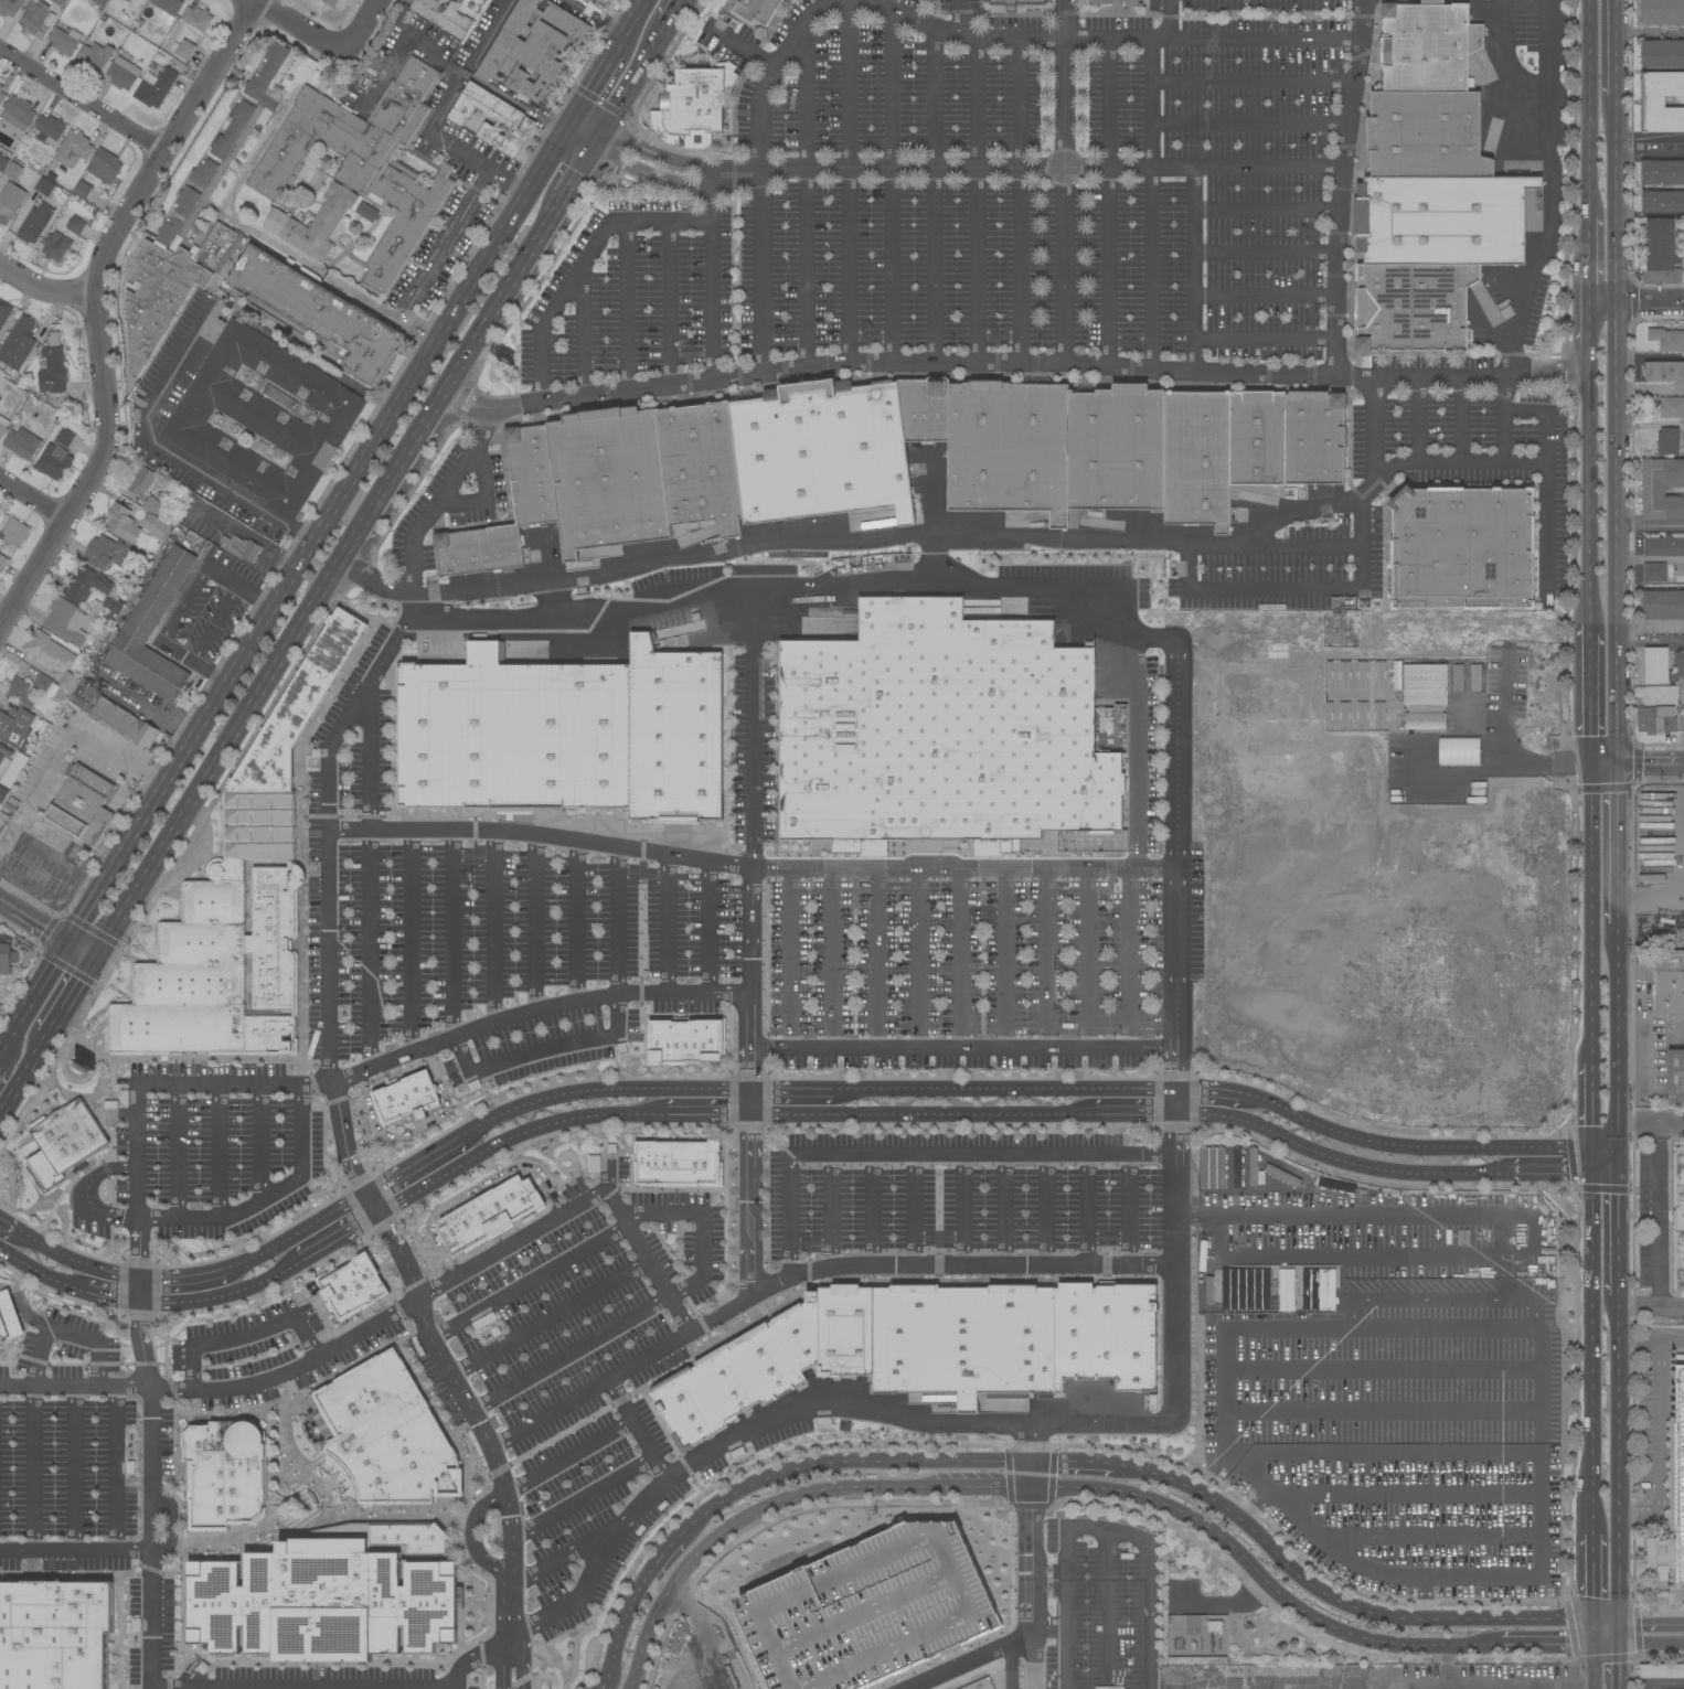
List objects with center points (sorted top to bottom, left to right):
building: (127, 0)
building: (484, 0)
building: (60, 2)
building: (100, 2)
building: (330, 2)
building: (1117, 2)
building: (1016, 3)
building: (595, 6)
building: (10, 7)
building: (167, 9)
building: (756, 10)
building: (1662, 12)
building: (444, 14)
road: (675, 14)
road: (959, 17)
building: (34, 19)
road: (1168, 19)
building: (195, 20)
road: (294, 25)
road: (360, 25)
road: (631, 26)
road: (994, 36)
building: (64, 41)
road: (1616, 47)
building: (184, 49)
building: (533, 49)
road: (740, 49)
building: (1663, 54)
building: (95, 56)
building: (373, 65)
road: (463, 65)
building: (122, 73)
road: (637, 79)
road: (1065, 84)
road: (1251, 84)
building: (1, 87)
building: (156, 88)
road: (594, 89)
building: (2, 97)
building: (696, 99)
road: (81, 101)
building: (1661, 101)
road: (513, 103)
road: (1589, 107)
building: (18, 113)
building: (509, 119)
building: (472, 121)
traffic signals: (572, 125)
building: (50, 127)
road: (1248, 129)
traffic signals: (608, 130)
road: (603, 139)
road: (1651, 140)
traffic signals: (597, 148)
building: (74, 149)
building: (3, 162)
road: (473, 164)
building: (105, 165)
road: (1051, 168)
building: (13, 171)
building: (359, 171)
building: (1662, 172)
road: (580, 174)
road: (758, 174)
road: (849, 182)
building: (45, 186)
road: (1337, 186)
building: (1429, 188)
road: (889, 189)
building: (83, 190)
road: (1550, 192)
parking lot: (978, 195)
road: (806, 196)
road: (931, 196)
road: (1620, 200)
building: (10, 201)
building: (1662, 201)
road: (974, 202)
road: (1019, 202)
road: (1107, 204)
road: (1151, 205)
road: (1266, 211)
building: (186, 212)
building: (366, 212)
building: (35, 223)
road: (640, 224)
building: (61, 238)
road: (539, 242)
road: (441, 245)
building: (1660, 253)
road: (1264, 257)
building: (1683, 259)
road: (1587, 260)
road: (1063, 268)
road: (1195, 269)
road: (765, 274)
road: (329, 277)
road: (44, 291)
road: (1264, 299)
road: (1653, 304)
road: (669, 306)
road: (1605, 306)
road: (94, 308)
road: (627, 308)
building: (4, 311)
building: (319, 313)
road: (1621, 331)
road: (583, 333)
road: (481, 338)
building: (1667, 339)
road: (1264, 341)
road: (1587, 341)
building: (19, 343)
road: (1652, 356)
building: (504, 362)
road: (1013, 367)
building: (52, 371)
building: (1664, 371)
road: (1621, 373)
road: (1652, 388)
road: (1502, 391)
building: (0, 399)
building: (1672, 407)
building: (263, 417)
road: (1418, 420)
road: (1461, 420)
building: (2, 425)
building: (64, 437)
road: (151, 441)
building: (1667, 441)
building: (22, 442)
building: (1043, 443)
parking lot: (1467, 446)
building: (1246, 447)
building: (821, 451)
road: (1545, 457)
building: (53, 462)
road: (402, 463)
building: (701, 466)
road: (1415, 466)
building: (141, 480)
road: (1588, 488)
building: (574, 489)
building: (1662, 489)
road: (481, 494)
road: (34, 496)
road: (440, 498)
parking lot: (449, 502)
building: (151, 504)
road: (1288, 509)
building: (121, 523)
building: (154, 526)
road: (237, 528)
building: (14, 532)
road: (300, 532)
road: (320, 532)
road: (883, 541)
building: (1663, 545)
building: (241, 547)
building: (1462, 548)
building: (105, 553)
road: (290, 559)
building: (2, 562)
road: (931, 564)
parking lot: (1290, 567)
building: (1654, 571)
road: (1618, 577)
road: (269, 580)
road: (239, 587)
road: (1272, 589)
building: (76, 592)
building: (1663, 603)
road: (183, 605)
road: (1589, 611)
building: (66, 622)
road: (214, 623)
building: (151, 631)
road: (1168, 639)
road: (1651, 641)
building: (49, 652)
road: (193, 662)
building: (1662, 666)
road: (749, 680)
building: (68, 681)
building: (42, 682)
building: (20, 692)
road: (1590, 694)
road: (146, 707)
building: (1656, 719)
building: (125, 721)
building: (1681, 724)
building: (15, 726)
building: (673, 733)
building: (513, 734)
building: (945, 735)
road: (88, 740)
road: (226, 746)
road: (1512, 749)
road: (1133, 753)
building: (4, 758)
road: (1681, 765)
road: (1603, 766)
road: (1646, 766)
building: (12, 769)
building: (2, 793)
building: (82, 802)
building: (39, 837)
road: (1616, 854)
road: (747, 866)
road: (370, 875)
road: (323, 886)
road: (1650, 897)
road: (8, 901)
building: (237, 904)
road: (1589, 915)
road: (619, 919)
road: (576, 920)
road: (536, 922)
road: (42, 923)
road: (665, 923)
road: (494, 926)
road: (711, 927)
road: (452, 932)
traffic signals: (70, 940)
road: (412, 940)
road: (82, 948)
traffic signals: (95, 956)
road: (790, 956)
road: (832, 956)
road: (877, 956)
road: (917, 956)
road: (961, 956)
road: (1006, 956)
road: (1045, 956)
road: (1088, 956)
road: (1129, 956)
building: (7, 958)
building: (1669, 981)
road: (34, 996)
road: (71, 996)
building: (685, 1041)
road: (1617, 1044)
road: (959, 1045)
road: (542, 1048)
road: (23, 1072)
road: (350, 1075)
building: (1676, 1077)
road: (790, 1088)
road: (1003, 1088)
road: (598, 1090)
road: (1206, 1091)
building: (405, 1097)
road: (1588, 1103)
road: (705, 1112)
road: (919, 1112)
road: (1132, 1113)
road: (1650, 1120)
road: (417, 1132)
road: (511, 1136)
building: (63, 1142)
road: (259, 1142)
road: (1410, 1144)
traffic signals: (1589, 1144)
road: (1602, 1144)
traffic signals: (1617, 1144)
road: (179, 1150)
road: (220, 1150)
road: (918, 1154)
road: (1589, 1156)
road: (1617, 1156)
road: (1336, 1157)
building: (676, 1163)
building: (1253, 1163)
building: (1211, 1167)
building: (1236, 1167)
road: (413, 1168)
traffic signals: (1590, 1169)
road: (1603, 1169)
traffic signals: (1617, 1169)
road: (1548, 1172)
road: (1590, 1189)
road: (87, 1194)
road: (746, 1194)
road: (268, 1196)
road: (1130, 1208)
road: (1045, 1209)
road: (1088, 1209)
road: (961, 1210)
road: (1003, 1210)
road: (830, 1211)
road: (872, 1211)
road: (912, 1211)
road: (1659, 1212)
building: (488, 1214)
building: (1677, 1216)
road: (701, 1220)
road: (6, 1228)
road: (291, 1236)
road: (337, 1236)
road: (1528, 1238)
road: (1617, 1238)
road: (394, 1247)
road: (646, 1258)
road: (1590, 1258)
road: (74, 1261)
road: (874, 1268)
road: (34, 1272)
road: (179, 1280)
road: (526, 1280)
building: (353, 1285)
building: (1273, 1289)
road: (105, 1294)
road: (1441, 1295)
road: (222, 1296)
road: (1651, 1306)
road: (547, 1316)
building: (7, 1317)
road: (1171, 1323)
road: (244, 1330)
road: (64, 1334)
road: (1650, 1335)
building: (920, 1348)
road: (569, 1354)
road: (1618, 1361)
road: (1379, 1366)
road: (289, 1367)
road: (1538, 1369)
road: (448, 1376)
road: (74, 1391)
road: (1381, 1410)
road: (1660, 1417)
road: (1590, 1419)
road: (636, 1429)
building: (387, 1434)
road: (1030, 1442)
road: (1383, 1450)
road: (567, 1453)
road: (832, 1462)
road: (657, 1464)
road: (34, 1469)
road: (72, 1469)
road: (116, 1471)
road: (1030, 1471)
building: (224, 1474)
road: (1031, 1483)
road: (149, 1484)
road: (831, 1489)
road: (1407, 1496)
building: (1673, 1497)
road: (1031, 1507)
road: (1643, 1515)
road: (1616, 1518)
road: (1047, 1526)
road: (1104, 1530)
road: (1427, 1537)
building: (411, 1538)
road: (799, 1542)
road: (75, 1549)
road: (601, 1562)
road: (957, 1571)
road: (667, 1573)
road: (116, 1574)
road: (1296, 1576)
road: (1590, 1576)
road: (516, 1579)
road: (918, 1579)
road: (876, 1590)
road: (1425, 1597)
building: (323, 1603)
road: (838, 1606)
road: (1063, 1607)
road: (1104, 1610)
road: (1293, 1611)
road: (1144, 1615)
road: (621, 1616)
traffic signals: (1590, 1622)
road: (1602, 1622)
traffic signals: (1616, 1622)
road: (1650, 1622)
road: (799, 1623)
road: (1043, 1624)
road: (947, 1626)
road: (713, 1633)
building: (54, 1634)
road: (1014, 1635)
road: (1590, 1635)
road: (1616, 1635)
building: (1196, 1636)
road: (647, 1638)
traffic signals: (1591, 1649)
road: (1603, 1649)
traffic signals: (1616, 1649)
road: (1650, 1650)
road: (1033, 1656)
road: (1591, 1669)
road: (1616, 1669)
building: (1661, 1670)
road: (679, 1677)
road: (689, 1677)
road: (961, 1678)
road: (1378, 1683)
road: (1574, 1686)
road: (1183, 1687)
road: (919, 1688)

